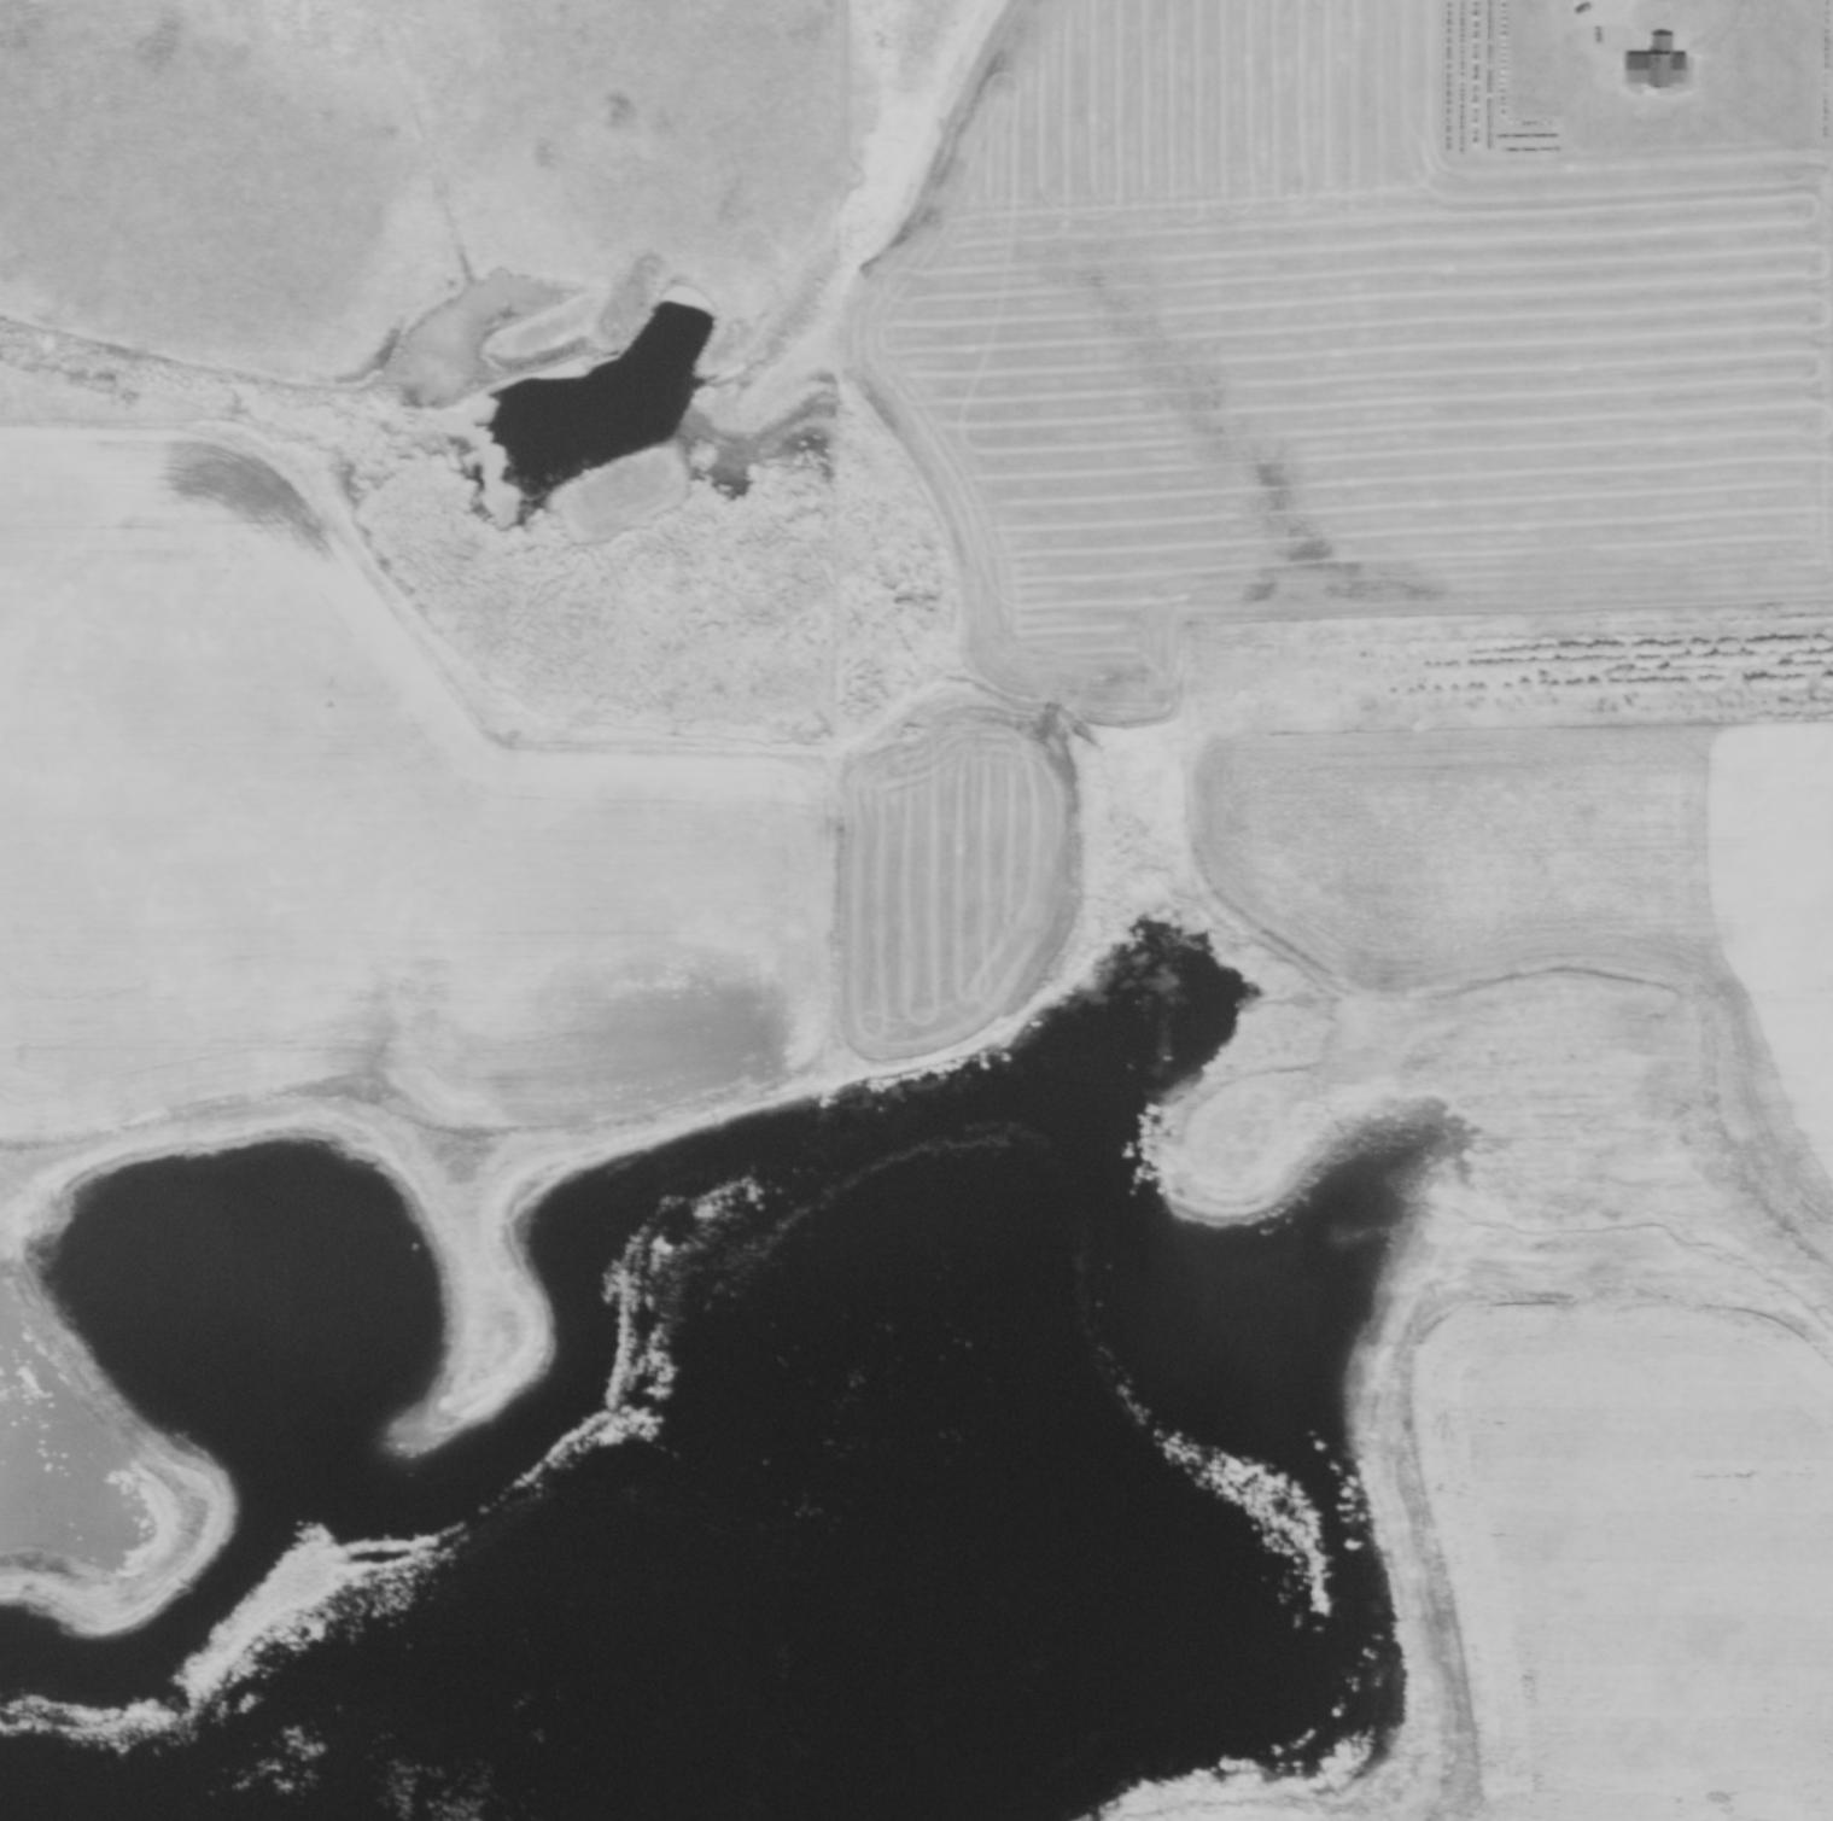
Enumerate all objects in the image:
building: (1583, 0)
road: (1618, 16)
building: (1660, 65)

